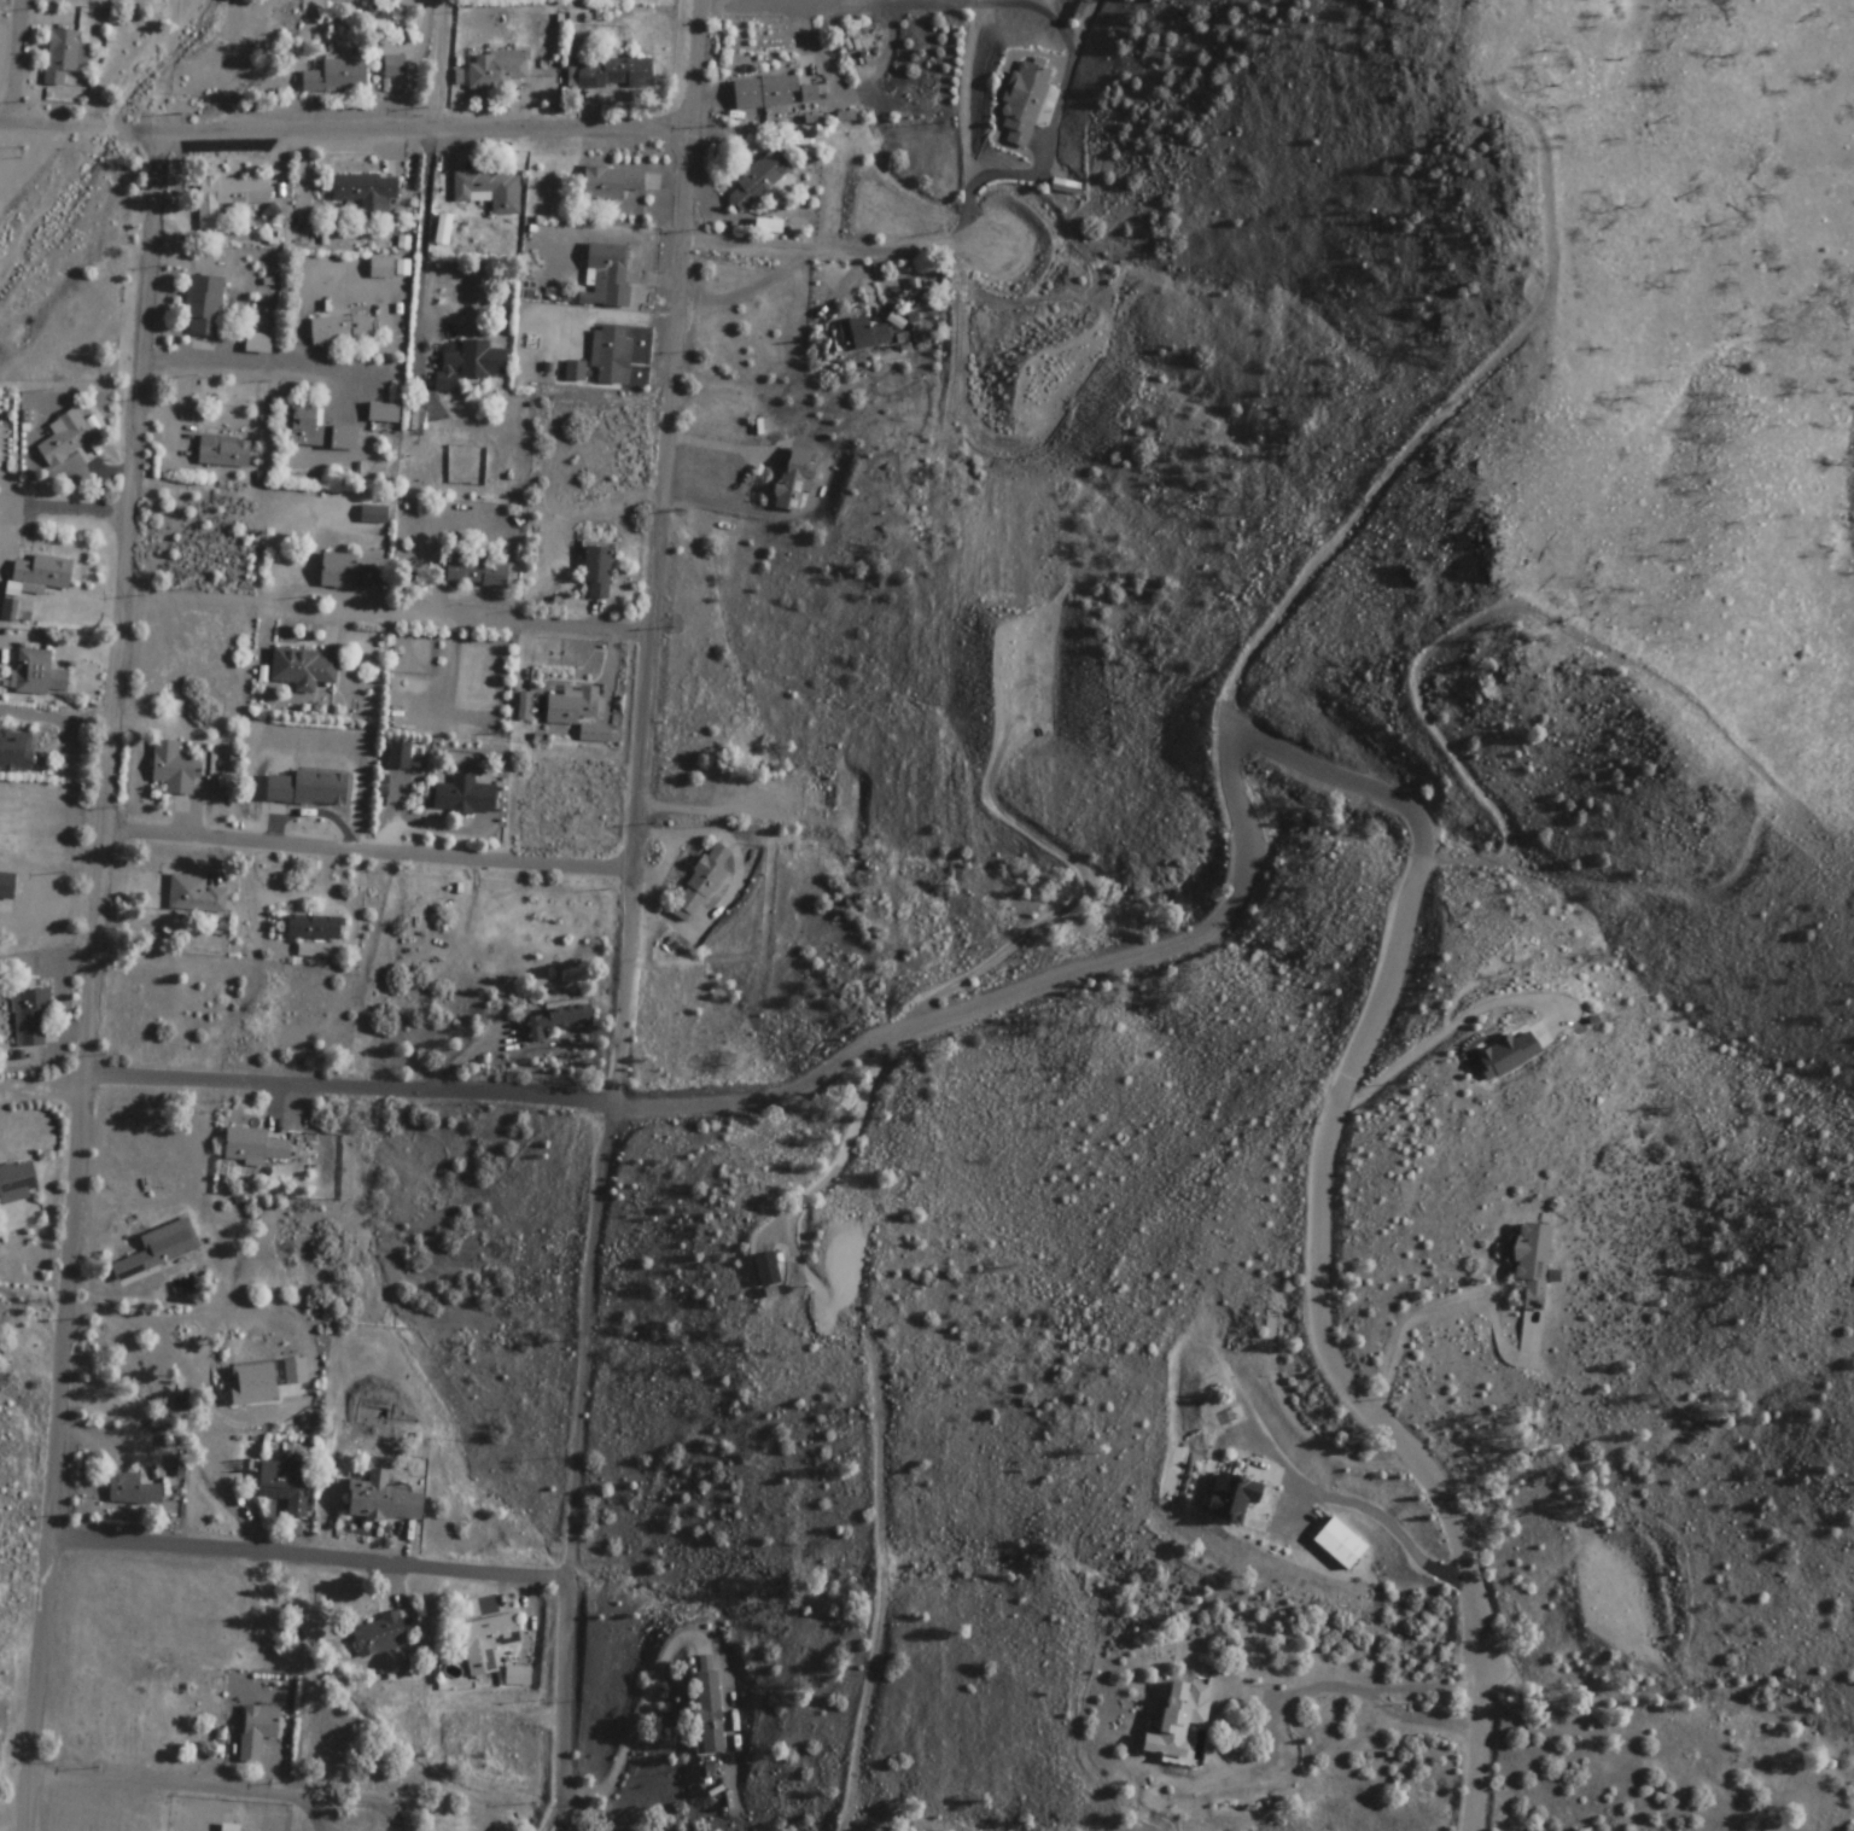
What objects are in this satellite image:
road: (817, 6)
building: (63, 57)
road: (442, 64)
building: (497, 69)
building: (614, 72)
building: (336, 75)
building: (768, 93)
building: (810, 94)
building: (1026, 100)
road: (346, 132)
building: (760, 180)
building: (1067, 187)
building: (489, 191)
building: (366, 193)
building: (618, 193)
building: (229, 198)
building: (444, 229)
building: (383, 268)
building: (607, 275)
building: (205, 305)
building: (340, 330)
building: (863, 334)
building: (258, 344)
building: (612, 355)
road: (210, 361)
building: (470, 365)
building: (577, 371)
building: (321, 432)
building: (69, 441)
road: (718, 449)
building: (225, 450)
building: (795, 479)
road: (77, 511)
building: (45, 572)
building: (478, 572)
building: (597, 572)
building: (349, 573)
building: (10, 610)
road: (386, 613)
building: (304, 670)
building: (40, 675)
building: (579, 715)
building: (16, 752)
building: (400, 757)
building: (174, 769)
building: (309, 789)
building: (830, 792)
building: (466, 797)
road: (636, 833)
road: (369, 852)
building: (704, 881)
building: (197, 894)
building: (314, 926)
road: (93, 984)
building: (31, 1017)
building: (555, 1021)
building: (1510, 1052)
road: (845, 1066)
building: (255, 1145)
building: (18, 1179)
building: (159, 1248)
building: (852, 1254)
building: (1537, 1261)
building: (769, 1267)
road: (1333, 1351)
building: (260, 1363)
building: (253, 1404)
building: (377, 1412)
building: (287, 1485)
building: (133, 1489)
building: (1235, 1497)
building: (384, 1499)
building: (1341, 1543)
building: (381, 1638)
building: (489, 1643)
building: (523, 1677)
building: (711, 1713)
building: (1182, 1721)
building: (258, 1731)
road: (567, 1748)
road: (305, 1798)

